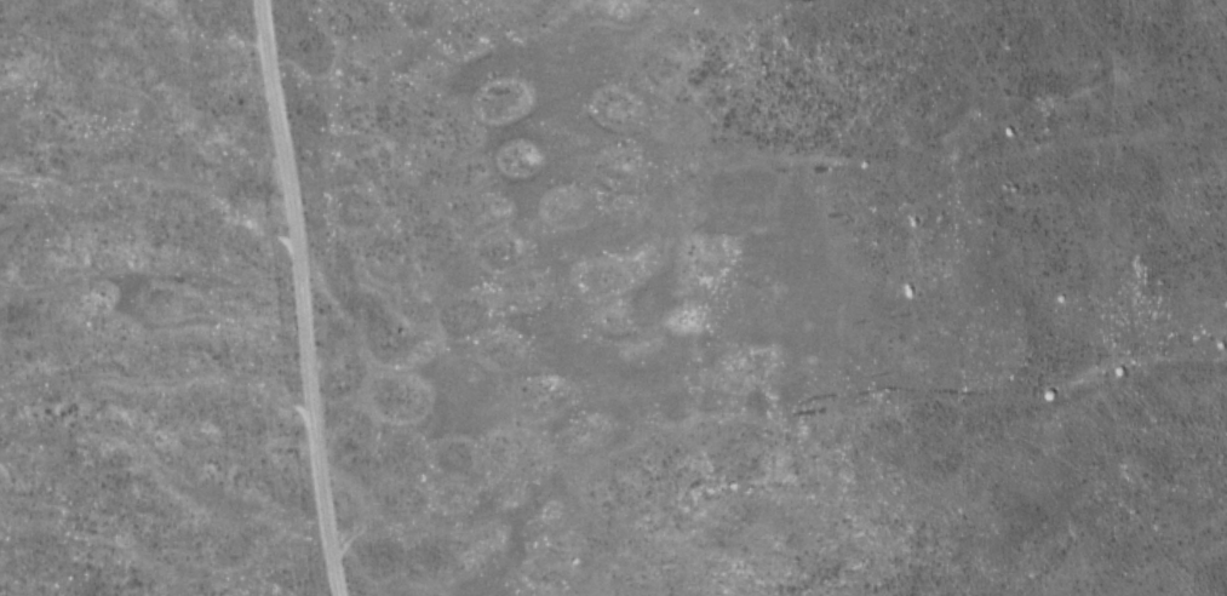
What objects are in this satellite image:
road: (304, 297)

